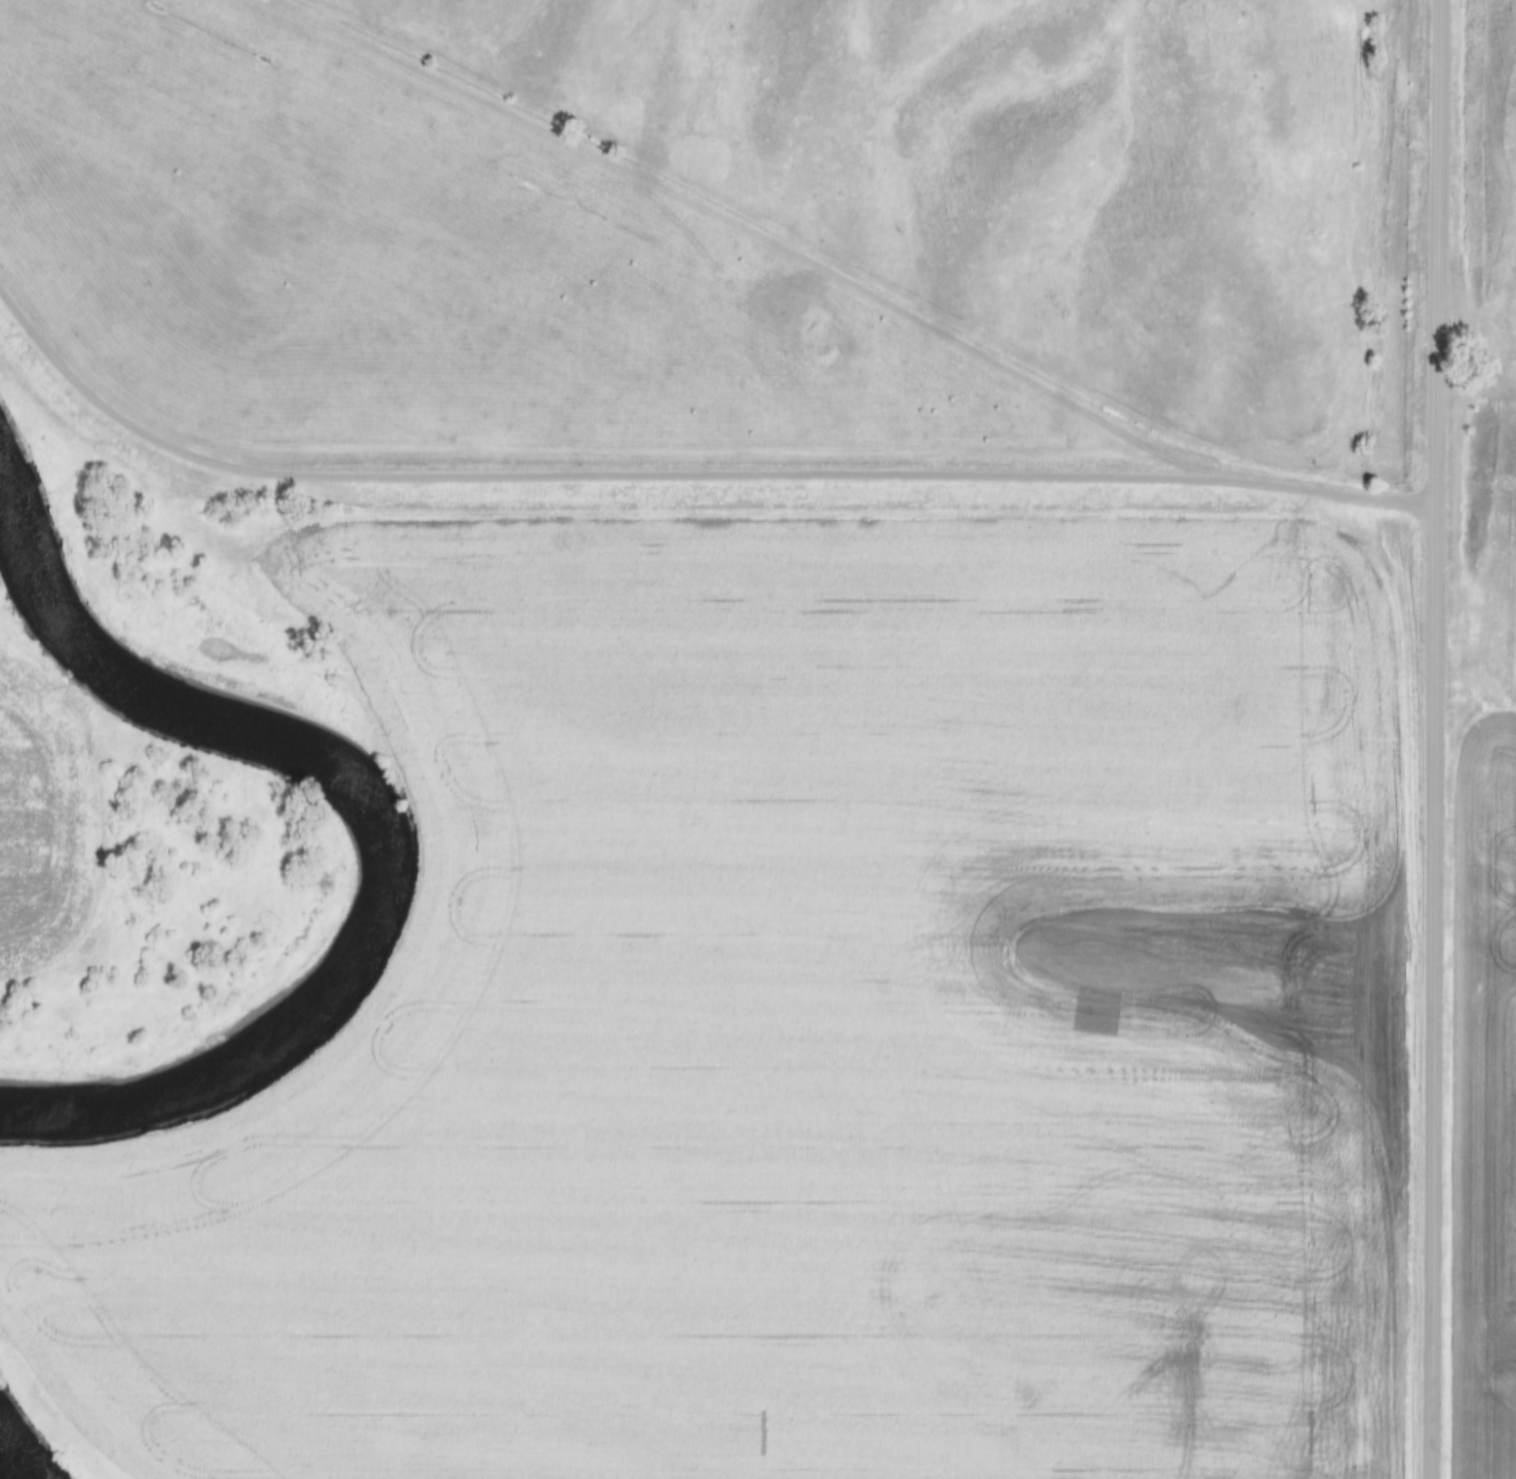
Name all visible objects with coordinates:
road: (683, 475)
river: (44, 602)
road: (1433, 739)
river: (363, 935)
river: (12, 1463)

